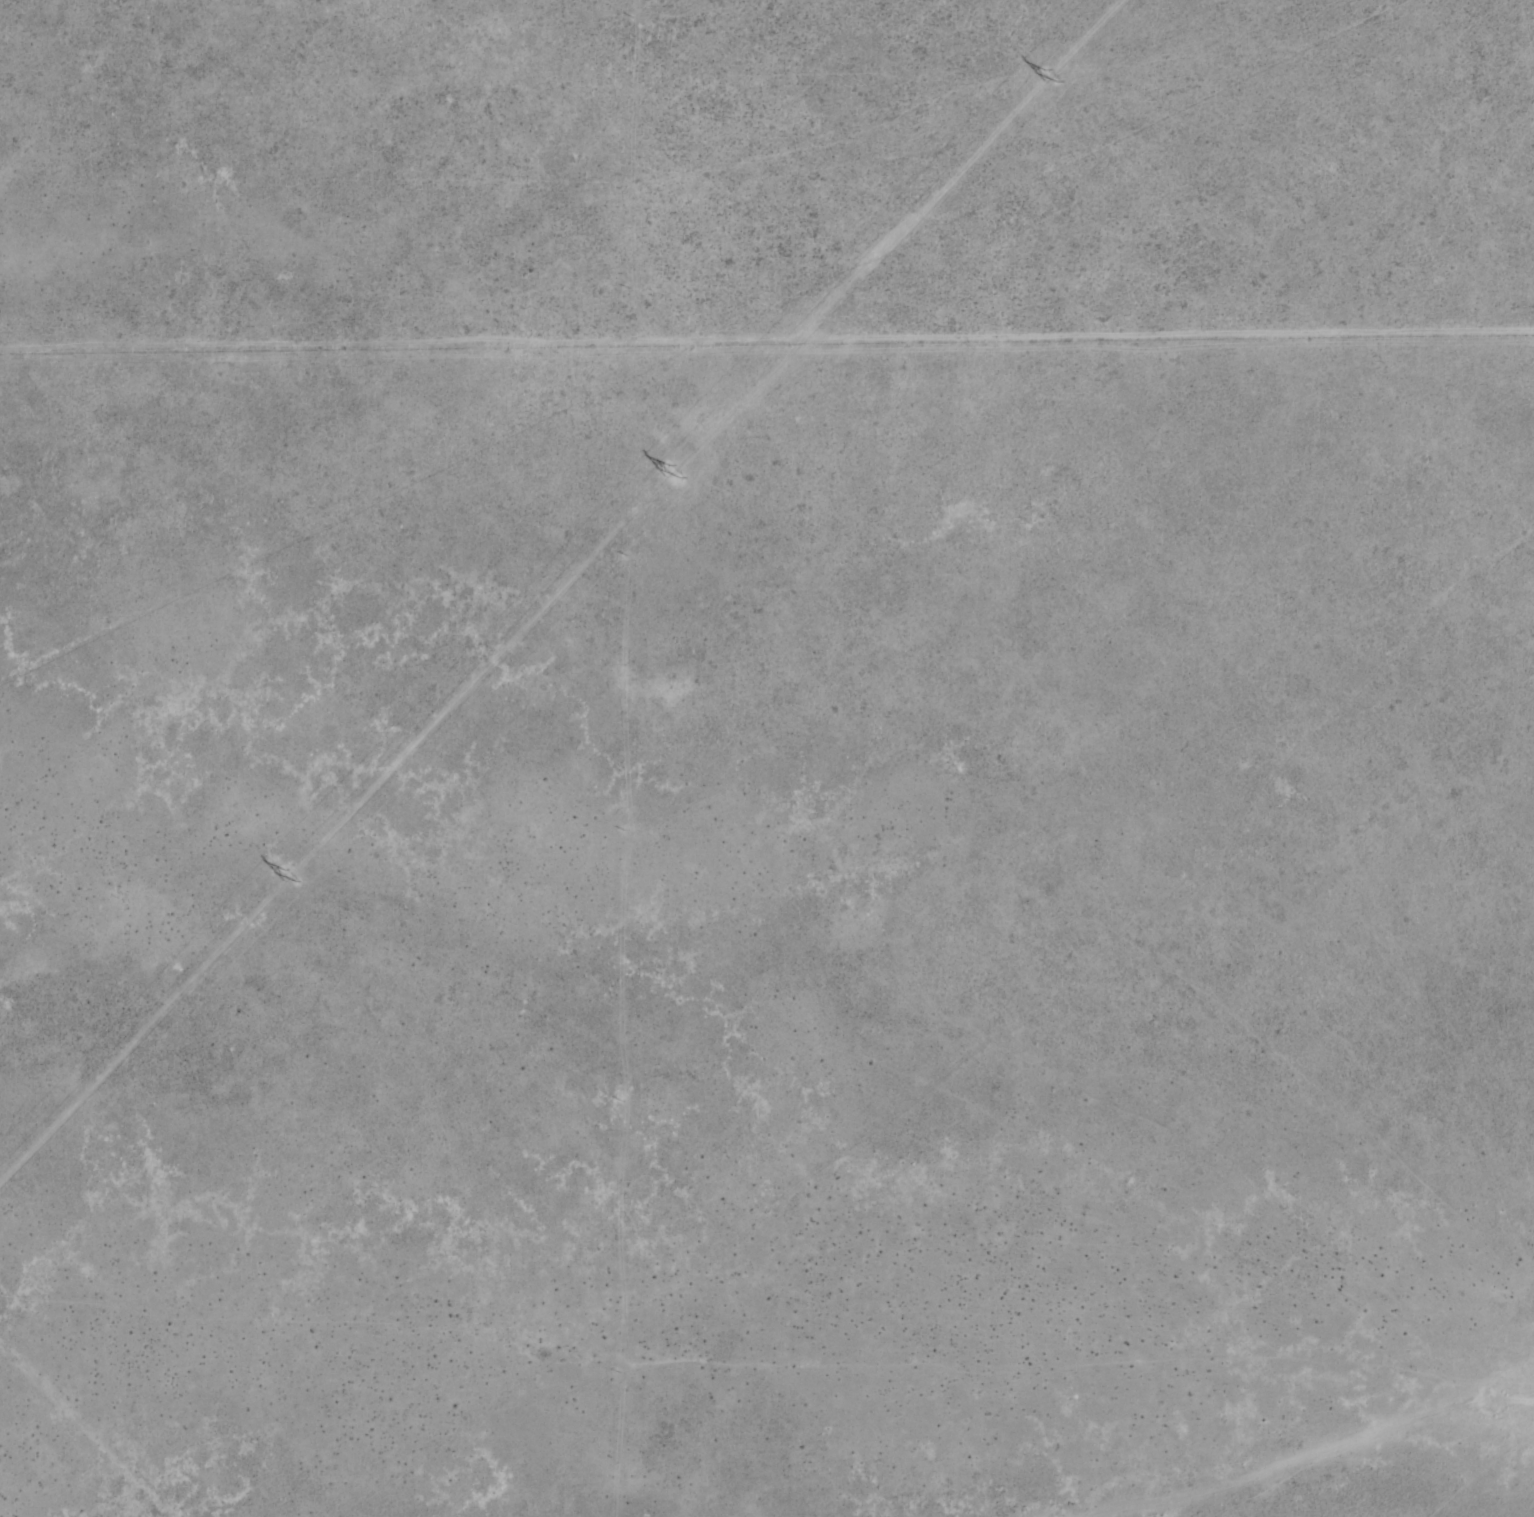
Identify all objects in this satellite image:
power tower: (1051, 73)
power tower: (671, 473)
power tower: (291, 874)

